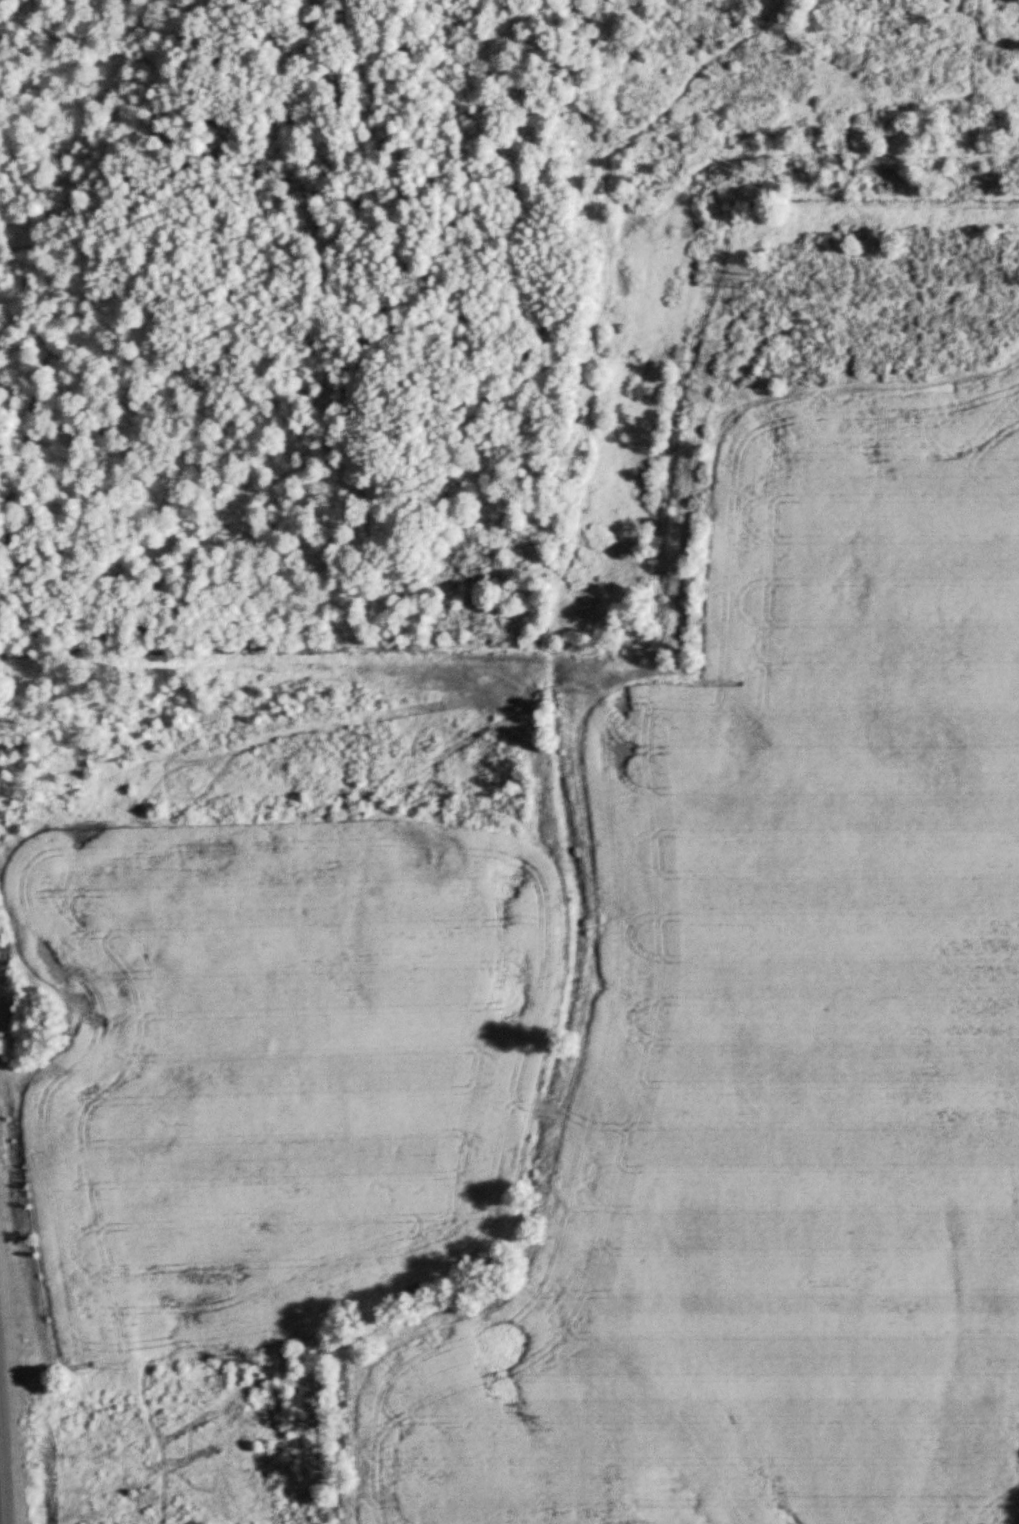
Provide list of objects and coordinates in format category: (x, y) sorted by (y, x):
road: (0, 1510)

